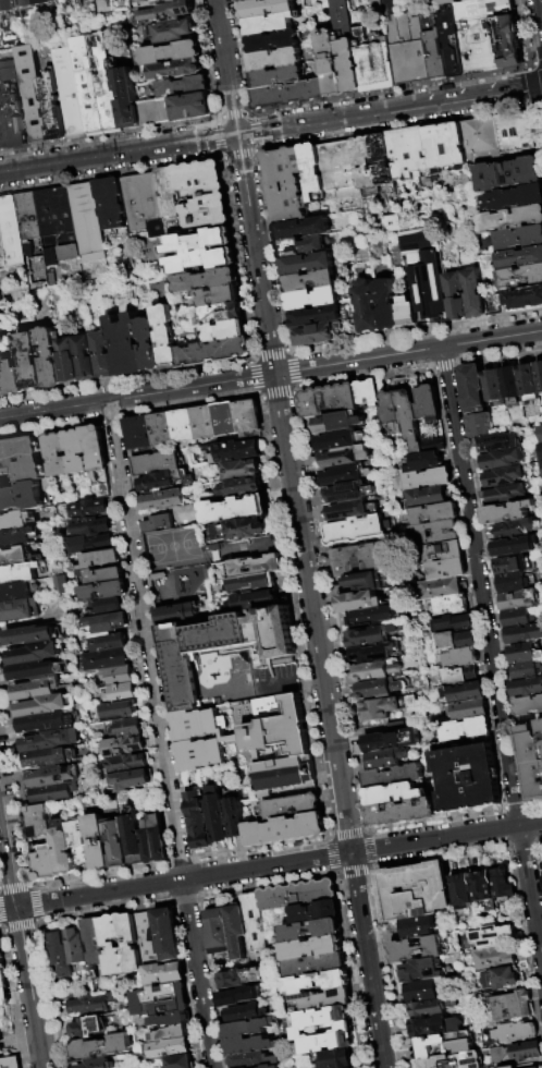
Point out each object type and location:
building: (245, 0)
building: (471, 1)
building: (46, 2)
building: (159, 2)
building: (449, 2)
building: (26, 3)
building: (8, 5)
building: (266, 9)
building: (170, 12)
building: (273, 24)
building: (174, 32)
road: (522, 33)
building: (489, 35)
building: (451, 39)
building: (273, 41)
building: (433, 44)
building: (346, 47)
building: (408, 47)
building: (172, 53)
road: (242, 57)
building: (275, 59)
building: (373, 59)
road: (204, 60)
road: (538, 62)
building: (330, 64)
road: (529, 64)
road: (225, 66)
building: (175, 70)
building: (278, 76)
road: (529, 85)
building: (98, 86)
building: (184, 87)
road: (386, 87)
road: (504, 90)
building: (72, 94)
building: (290, 94)
building: (35, 95)
building: (128, 99)
road: (431, 102)
building: (193, 107)
building: (56, 108)
building: (157, 112)
road: (231, 113)
building: (19, 118)
building: (4, 119)
road: (539, 120)
road: (315, 121)
road: (397, 126)
road: (254, 130)
road: (109, 134)
building: (498, 134)
road: (215, 135)
traffic signals: (236, 135)
building: (445, 143)
building: (408, 150)
road: (255, 151)
road: (237, 153)
road: (118, 154)
building: (382, 157)
building: (365, 160)
building: (312, 167)
building: (340, 167)
building: (508, 171)
road: (111, 173)
building: (285, 182)
building: (200, 192)
building: (514, 195)
building: (167, 198)
building: (107, 202)
building: (140, 202)
building: (25, 215)
building: (509, 216)
building: (85, 220)
building: (54, 223)
building: (390, 223)
building: (303, 226)
building: (9, 231)
building: (518, 235)
building: (0, 243)
building: (301, 244)
building: (25, 248)
building: (198, 248)
road: (255, 254)
building: (520, 255)
road: (235, 257)
building: (307, 260)
building: (37, 268)
building: (422, 270)
building: (520, 274)
building: (202, 278)
building: (310, 279)
building: (470, 290)
building: (215, 293)
building: (453, 294)
building: (521, 294)
building: (312, 296)
building: (384, 302)
building: (365, 304)
building: (403, 310)
building: (219, 311)
building: (316, 313)
building: (353, 325)
building: (223, 328)
building: (316, 332)
building: (1, 335)
building: (162, 335)
building: (146, 341)
building: (123, 343)
road: (315, 348)
road: (286, 349)
building: (211, 350)
building: (100, 352)
road: (269, 352)
road: (407, 352)
building: (64, 353)
road: (293, 353)
building: (47, 355)
building: (83, 355)
road: (496, 356)
building: (27, 359)
road: (443, 366)
road: (294, 369)
building: (539, 375)
road: (254, 376)
building: (10, 377)
road: (127, 377)
building: (528, 381)
building: (510, 383)
road: (297, 386)
building: (493, 386)
road: (190, 387)
building: (472, 388)
road: (293, 391)
building: (367, 392)
road: (257, 395)
road: (276, 395)
building: (329, 401)
building: (428, 403)
road: (53, 410)
building: (390, 413)
building: (225, 418)
building: (248, 418)
road: (109, 420)
building: (409, 420)
building: (202, 423)
building: (338, 423)
building: (478, 424)
building: (181, 426)
building: (541, 427)
building: (159, 428)
building: (137, 433)
building: (340, 440)
building: (497, 442)
building: (431, 445)
building: (541, 445)
building: (235, 450)
building: (93, 451)
building: (72, 452)
building: (52, 453)
building: (344, 457)
building: (19, 459)
building: (502, 459)
building: (421, 462)
building: (155, 463)
building: (241, 470)
building: (344, 475)
building: (502, 476)
building: (423, 480)
building: (160, 481)
building: (241, 486)
building: (100, 489)
building: (347, 493)
building: (505, 494)
building: (19, 496)
building: (424, 497)
building: (161, 500)
building: (85, 508)
road: (186, 508)
building: (233, 509)
building: (346, 510)
building: (506, 511)
road: (150, 512)
building: (432, 513)
building: (13, 520)
building: (158, 524)
building: (86, 525)
building: (516, 527)
building: (238, 530)
building: (354, 531)
building: (433, 533)
building: (16, 536)
road: (319, 542)
building: (88, 543)
park: (173, 545)
building: (514, 545)
building: (441, 553)
building: (15, 556)
building: (97, 558)
building: (353, 559)
building: (512, 565)
building: (256, 567)
road: (144, 569)
building: (445, 570)
building: (17, 573)
building: (100, 575)
building: (361, 581)
building: (515, 582)
building: (249, 583)
building: (59, 584)
road: (488, 584)
road: (480, 586)
building: (439, 587)
building: (101, 590)
building: (15, 591)
road: (126, 591)
building: (518, 598)
building: (251, 600)
building: (357, 602)
building: (106, 605)
building: (445, 606)
building: (17, 609)
road: (312, 612)
building: (175, 614)
road: (294, 616)
building: (371, 616)
building: (516, 617)
building: (104, 622)
building: (452, 623)
building: (525, 633)
building: (29, 635)
building: (369, 635)
building: (106, 641)
building: (453, 641)
building: (221, 647)
building: (372, 653)
building: (523, 653)
building: (34, 654)
building: (103, 658)
building: (458, 658)
road: (480, 658)
building: (36, 670)
building: (525, 670)
building: (374, 671)
building: (114, 675)
building: (457, 676)
road: (310, 679)
road: (276, 682)
building: (526, 687)
building: (375, 689)
building: (36, 690)
building: (463, 691)
building: (116, 693)
building: (46, 705)
building: (527, 705)
building: (383, 707)
building: (467, 708)
building: (114, 709)
building: (46, 723)
building: (124, 727)
building: (464, 729)
road: (160, 733)
building: (391, 739)
building: (50, 741)
building: (185, 741)
building: (120, 745)
building: (281, 747)
building: (49, 758)
building: (385, 758)
building: (531, 760)
building: (123, 763)
building: (57, 776)
building: (392, 776)
building: (466, 778)
building: (128, 779)
road: (15, 787)
building: (53, 793)
building: (393, 794)
road: (532, 803)
building: (291, 806)
road: (513, 806)
building: (401, 812)
building: (218, 815)
building: (236, 818)
building: (36, 821)
building: (198, 822)
building: (286, 829)
road: (346, 833)
building: (132, 837)
road: (329, 837)
building: (152, 839)
building: (96, 841)
road: (535, 841)
building: (78, 842)
building: (115, 842)
road: (521, 845)
road: (259, 848)
road: (368, 848)
building: (62, 849)
road: (9, 852)
road: (330, 854)
road: (439, 857)
road: (180, 860)
building: (541, 862)
building: (44, 863)
road: (279, 865)
road: (538, 865)
road: (353, 872)
road: (101, 873)
road: (334, 873)
building: (502, 883)
road: (29, 884)
road: (263, 885)
road: (32, 886)
building: (482, 886)
road: (13, 887)
road: (28, 888)
building: (460, 888)
building: (414, 890)
building: (296, 895)
road: (530, 897)
road: (184, 898)
road: (33, 903)
road: (9, 909)
road: (107, 910)
building: (313, 911)
road: (34, 920)
road: (39, 921)
road: (36, 925)
building: (415, 926)
road: (19, 927)
building: (254, 929)
road: (1, 930)
building: (309, 930)
road: (3, 931)
building: (235, 931)
building: (217, 933)
building: (168, 935)
building: (492, 936)
building: (148, 938)
building: (94, 943)
building: (130, 943)
building: (112, 945)
building: (1, 946)
building: (77, 947)
building: (310, 948)
building: (415, 949)
building: (60, 952)
road: (525, 954)
building: (494, 958)
road: (368, 960)
building: (2, 961)
building: (313, 966)
road: (385, 966)
road: (350, 971)
building: (420, 971)
building: (164, 973)
building: (238, 978)
building: (502, 979)
building: (3, 980)
road: (210, 982)
building: (311, 983)
road: (186, 984)
road: (29, 987)
building: (421, 992)
road: (49, 996)
building: (236, 996)
building: (4, 997)
road: (12, 999)
building: (161, 999)
building: (320, 999)
building: (91, 1004)
building: (509, 1005)
building: (427, 1009)
building: (245, 1014)
building: (169, 1020)
road: (1, 1022)
building: (87, 1027)
building: (429, 1027)
road: (1, 1029)
building: (343, 1030)
building: (512, 1031)
park: (8, 1033)
building: (172, 1033)
building: (233, 1036)
road: (12, 1040)
building: (443, 1044)
building: (101, 1047)
building: (167, 1047)
road: (8, 1049)
building: (522, 1049)
road: (17, 1052)
building: (334, 1058)
building: (250, 1059)
building: (453, 1060)
building: (180, 1061)
building: (10, 1064)
building: (96, 1064)
building: (266, 1066)
building: (510, 1067)
building: (531, 1067)

